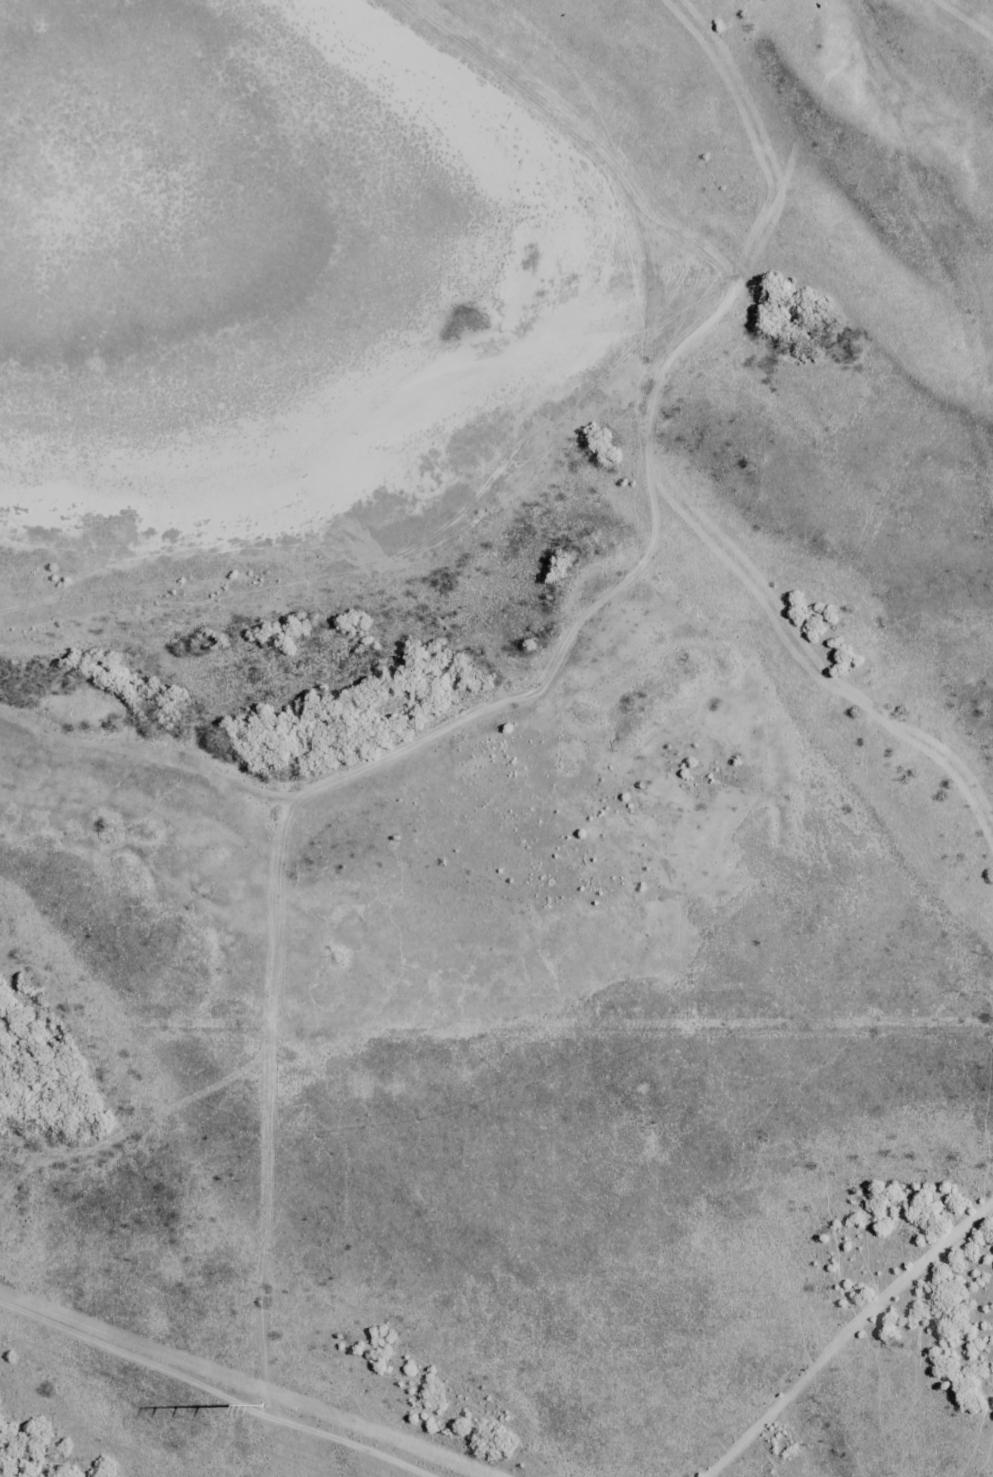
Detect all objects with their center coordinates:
power tower: (268, 1408)

